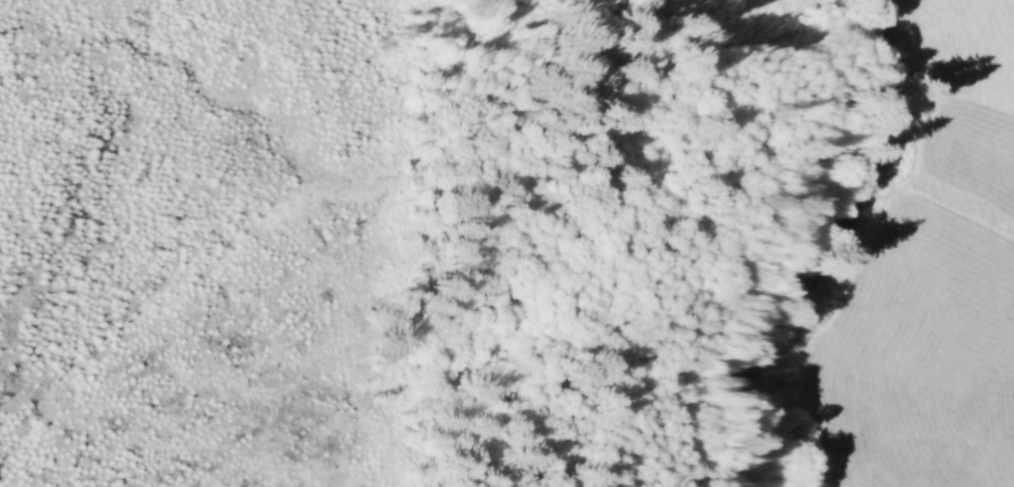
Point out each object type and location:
road: (829, 245)

